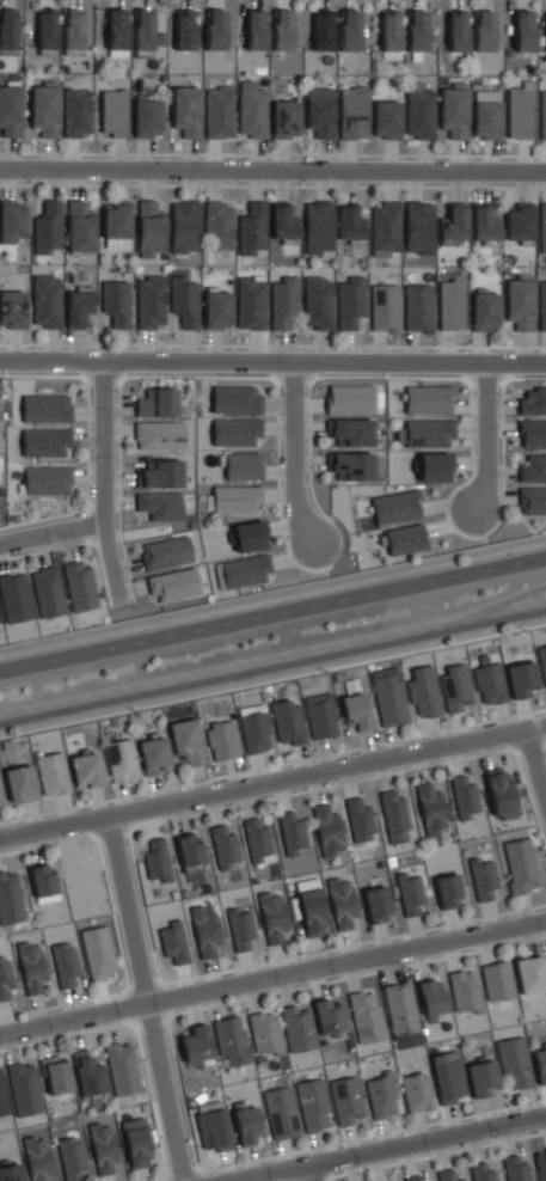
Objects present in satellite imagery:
building: (73, 29)
building: (252, 29)
building: (185, 30)
building: (215, 30)
building: (282, 30)
building: (323, 30)
building: (349, 30)
building: (416, 30)
building: (7, 31)
building: (143, 31)
building: (456, 31)
building: (483, 31)
building: (523, 31)
building: (117, 32)
building: (389, 33)
building: (44, 109)
building: (251, 109)
building: (10, 110)
building: (453, 110)
building: (186, 111)
building: (319, 111)
building: (419, 111)
building: (520, 111)
building: (76, 112)
building: (114, 112)
building: (219, 112)
building: (352, 112)
building: (486, 114)
building: (542, 115)
building: (146, 116)
building: (284, 118)
building: (386, 120)
road: (272, 167)
building: (12, 220)
building: (116, 220)
building: (454, 222)
building: (520, 222)
building: (283, 224)
building: (350, 224)
building: (484, 224)
building: (184, 226)
building: (219, 226)
building: (80, 227)
building: (418, 227)
building: (48, 228)
building: (251, 228)
building: (318, 228)
building: (542, 228)
building: (149, 230)
building: (385, 230)
building: (47, 301)
building: (184, 301)
building: (284, 301)
building: (116, 302)
building: (318, 302)
building: (350, 302)
building: (251, 304)
building: (520, 304)
building: (450, 305)
building: (541, 305)
building: (385, 307)
building: (12, 308)
building: (78, 308)
building: (418, 308)
building: (217, 310)
building: (485, 311)
road: (272, 361)
building: (235, 399)
building: (350, 399)
building: (429, 400)
building: (533, 402)
building: (157, 403)
building: (47, 408)
building: (235, 432)
building: (352, 432)
building: (425, 433)
road: (481, 434)
building: (533, 434)
building: (159, 435)
building: (45, 442)
road: (290, 452)
building: (352, 465)
building: (241, 466)
building: (435, 467)
building: (533, 469)
building: (162, 475)
building: (45, 481)
road: (100, 482)
building: (235, 500)
building: (533, 500)
building: (160, 506)
building: (395, 507)
road: (50, 533)
building: (250, 536)
building: (405, 539)
building: (166, 552)
building: (241, 571)
building: (173, 585)
building: (80, 586)
building: (48, 592)
road: (272, 593)
building: (14, 598)
road: (272, 612)
building: (542, 661)
road: (272, 663)
building: (522, 679)
building: (490, 684)
building: (455, 687)
building: (423, 691)
building: (391, 700)
building: (356, 711)
building: (320, 720)
building: (289, 723)
building: (254, 728)
building: (222, 740)
building: (186, 741)
building: (154, 754)
building: (122, 760)
building: (87, 770)
road: (533, 771)
building: (51, 773)
building: (20, 784)
road: (272, 784)
building: (499, 793)
building: (465, 796)
building: (1, 798)
building: (431, 809)
building: (394, 815)
building: (358, 820)
building: (327, 831)
building: (292, 832)
building: (258, 842)
building: (223, 845)
building: (189, 850)
building: (157, 861)
building: (521, 865)
building: (483, 879)
building: (43, 882)
building: (448, 892)
building: (411, 894)
building: (10, 899)
building: (342, 902)
building: (376, 905)
building: (311, 907)
building: (272, 917)
building: (240, 926)
building: (205, 930)
building: (173, 942)
building: (98, 954)
building: (65, 963)
building: (31, 967)
building: (530, 974)
road: (272, 977)
building: (5, 978)
building: (497, 980)
building: (465, 991)
road: (149, 998)
building: (431, 998)
building: (400, 1008)
building: (366, 1016)
building: (329, 1017)
building: (297, 1028)
building: (264, 1033)
building: (231, 1040)
building: (196, 1046)
building: (515, 1063)
building: (540, 1065)
building: (122, 1069)
building: (56, 1073)
building: (87, 1075)
building: (448, 1077)
building: (481, 1077)
building: (24, 1089)
building: (417, 1091)
building: (2, 1095)
building: (381, 1096)
building: (346, 1100)
building: (313, 1104)
building: (281, 1113)
building: (246, 1124)
building: (211, 1126)
building: (137, 1146)
building: (103, 1148)
road: (387, 1149)
building: (70, 1157)
building: (37, 1158)
building: (516, 1169)
building: (11, 1171)
road: (308, 1173)
building: (483, 1173)
building: (447, 1175)
building: (412, 1177)

